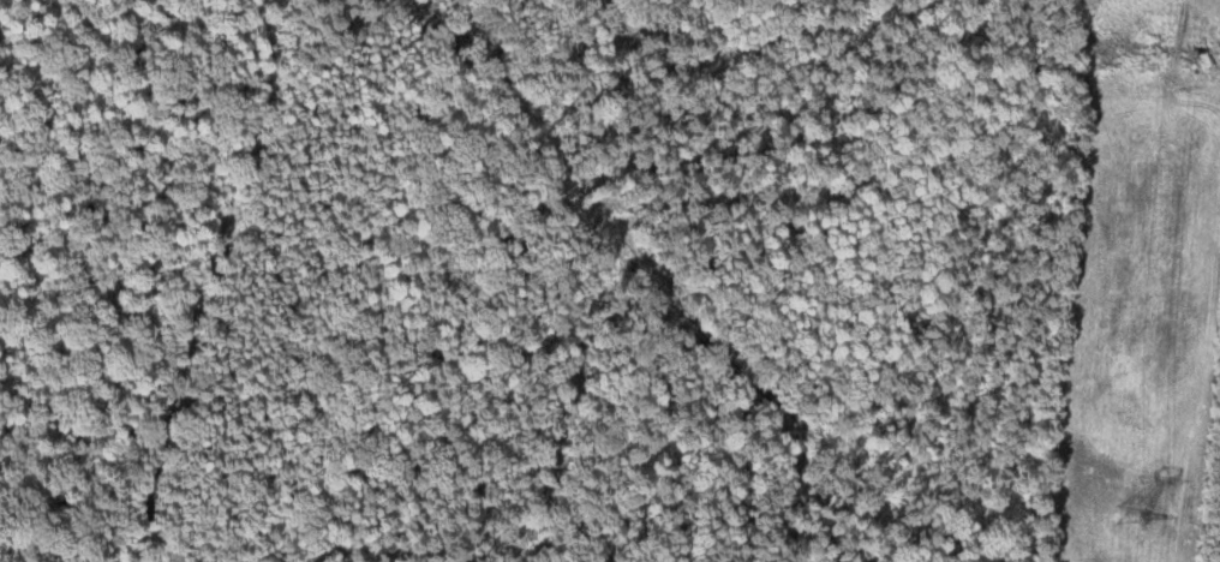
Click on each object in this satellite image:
power tower: (1128, 519)

